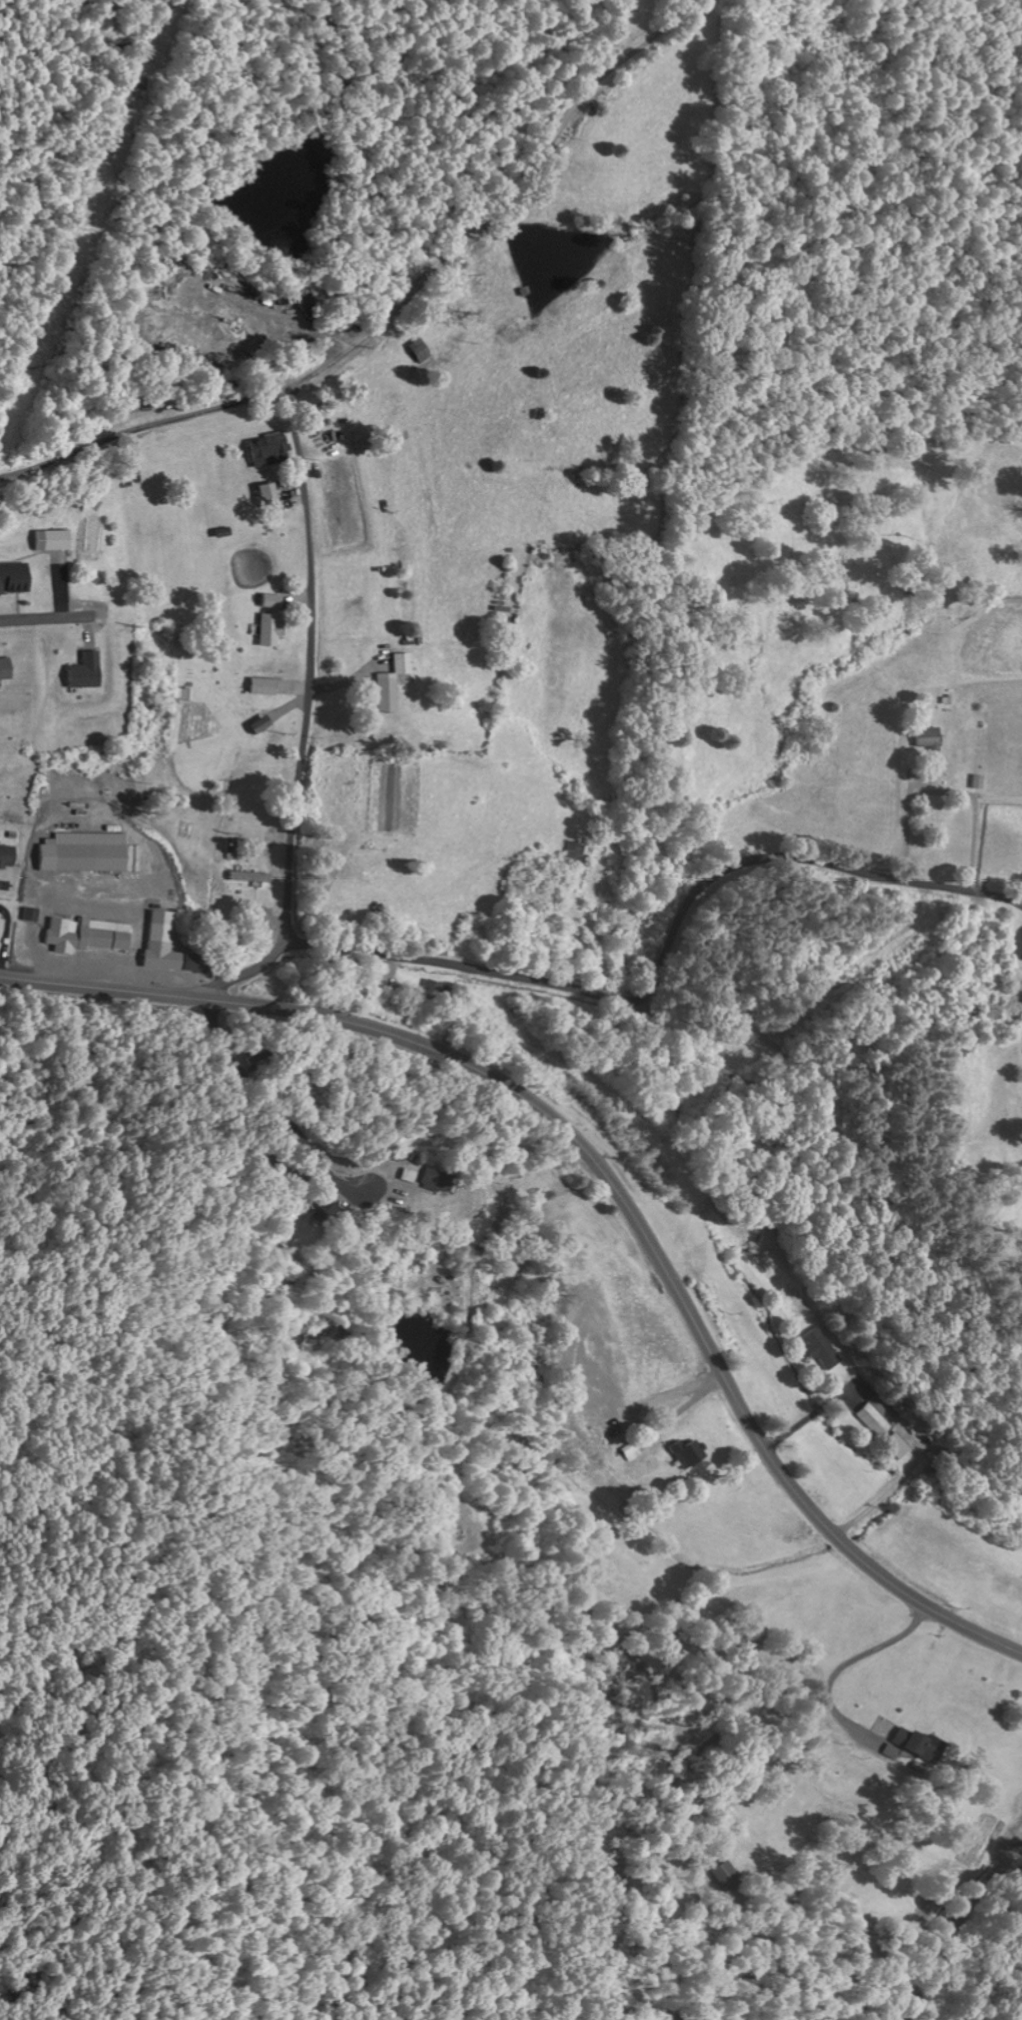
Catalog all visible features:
road: (390, 311)
building: (416, 351)
building: (271, 449)
building: (271, 494)
building: (54, 540)
building: (16, 578)
building: (274, 601)
road: (53, 615)
building: (273, 630)
building: (8, 669)
building: (88, 671)
building: (394, 683)
building: (271, 685)
road: (307, 714)
building: (266, 724)
building: (924, 738)
building: (975, 782)
building: (90, 853)
building: (9, 856)
building: (251, 876)
building: (32, 914)
building: (3, 928)
road: (261, 930)
building: (163, 932)
building: (88, 934)
building: (528, 935)
road: (661, 962)
building: (434, 991)
road: (820, 1054)
road: (270, 1107)
road: (602, 1175)
building: (423, 1178)
building: (322, 1213)
building: (821, 1347)
building: (873, 1418)
building: (895, 1445)
building: (627, 1451)
building: (685, 1452)
building: (911, 1744)
building: (721, 1875)

